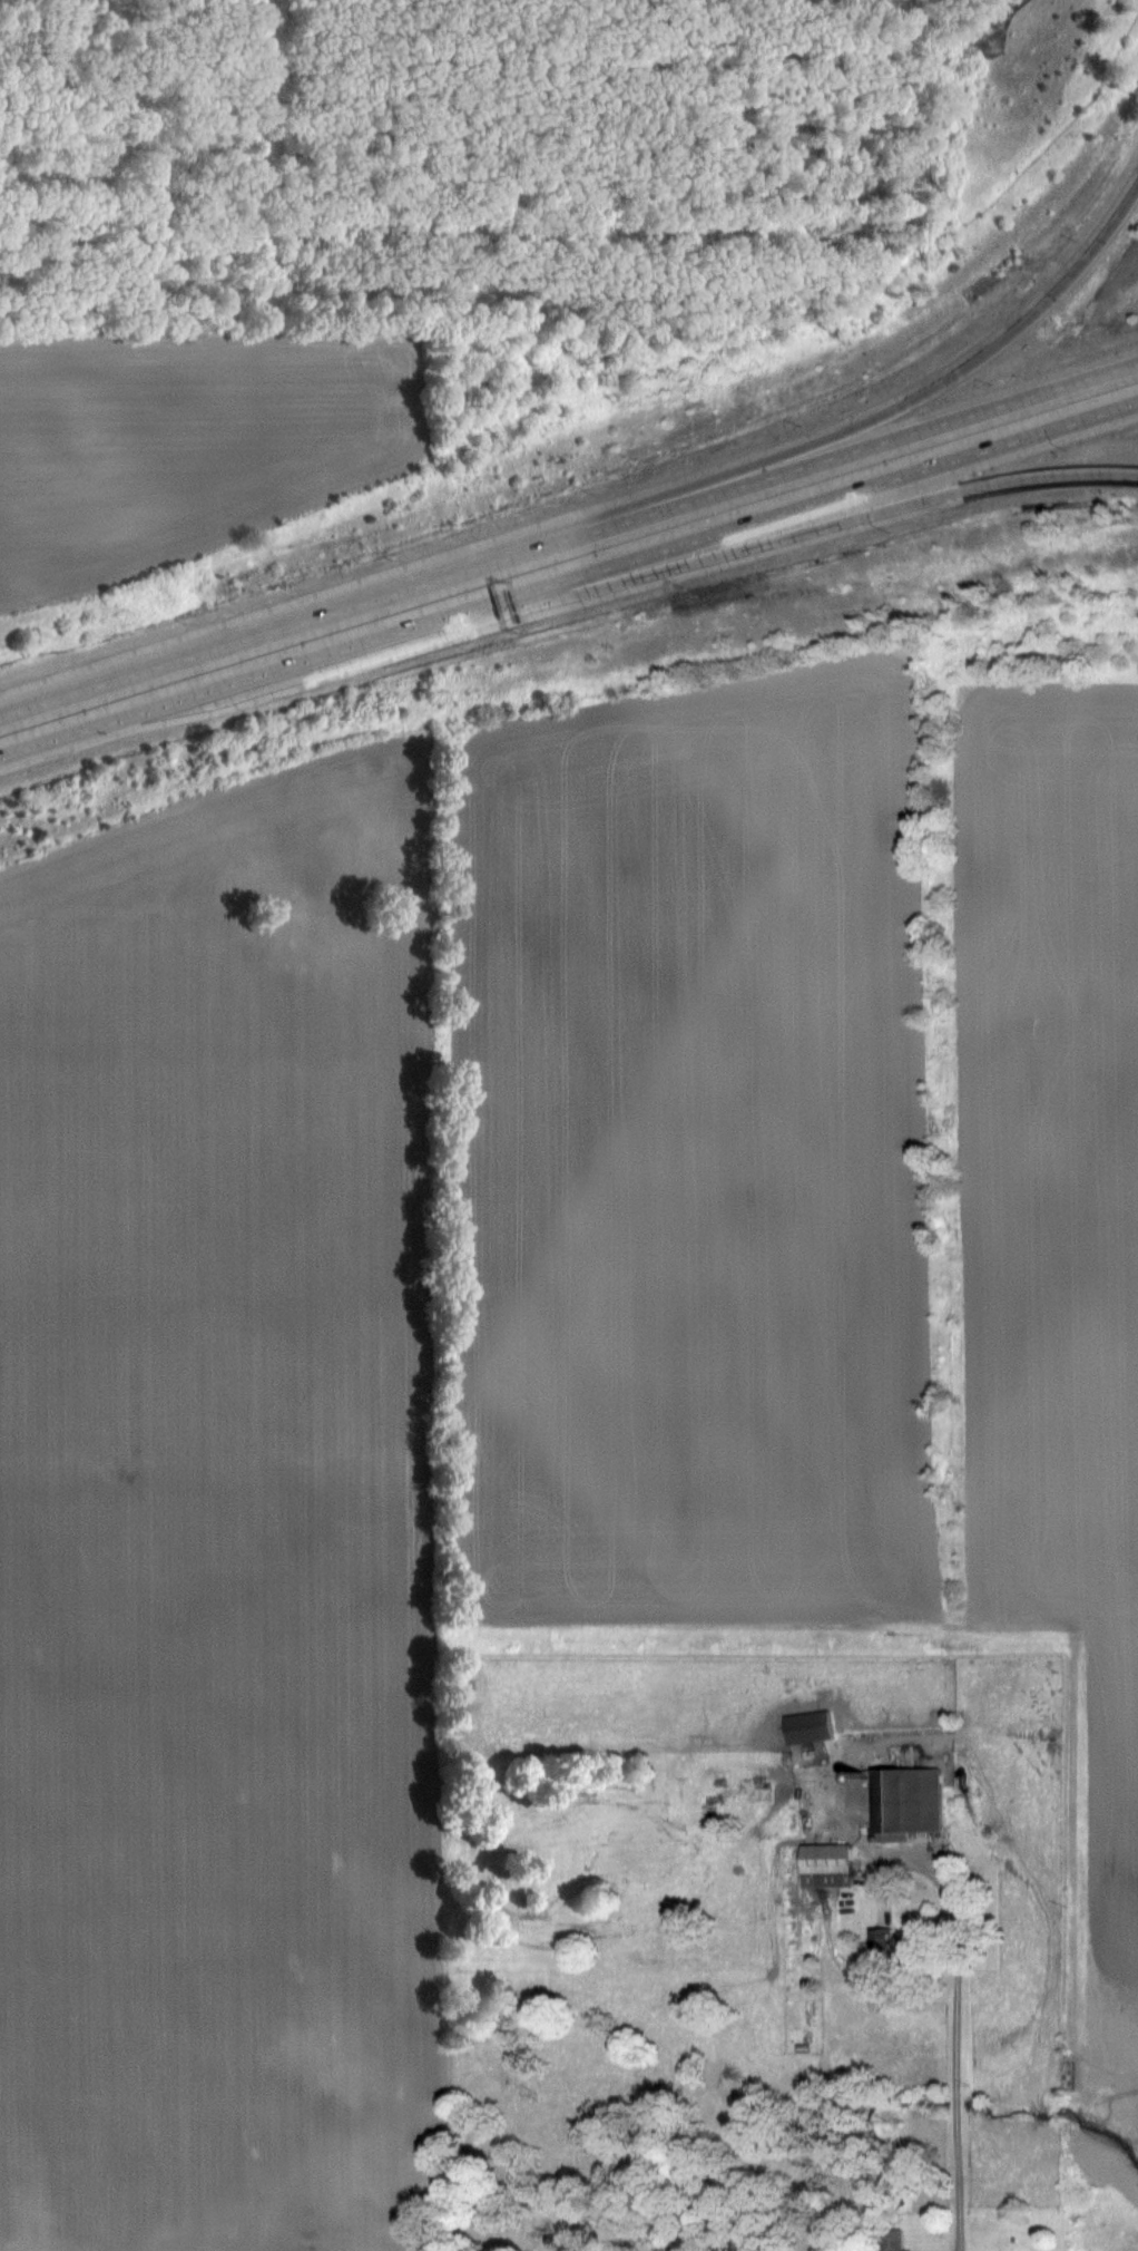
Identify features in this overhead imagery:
road: (1003, 17)
crop: (190, 435)
road: (793, 447)
road: (568, 539)
road: (766, 539)
road: (568, 581)
crop: (527, 1351)
building: (808, 1726)
building: (908, 1802)
building: (827, 1865)
building: (895, 1941)
road: (956, 2048)
building: (889, 2239)

